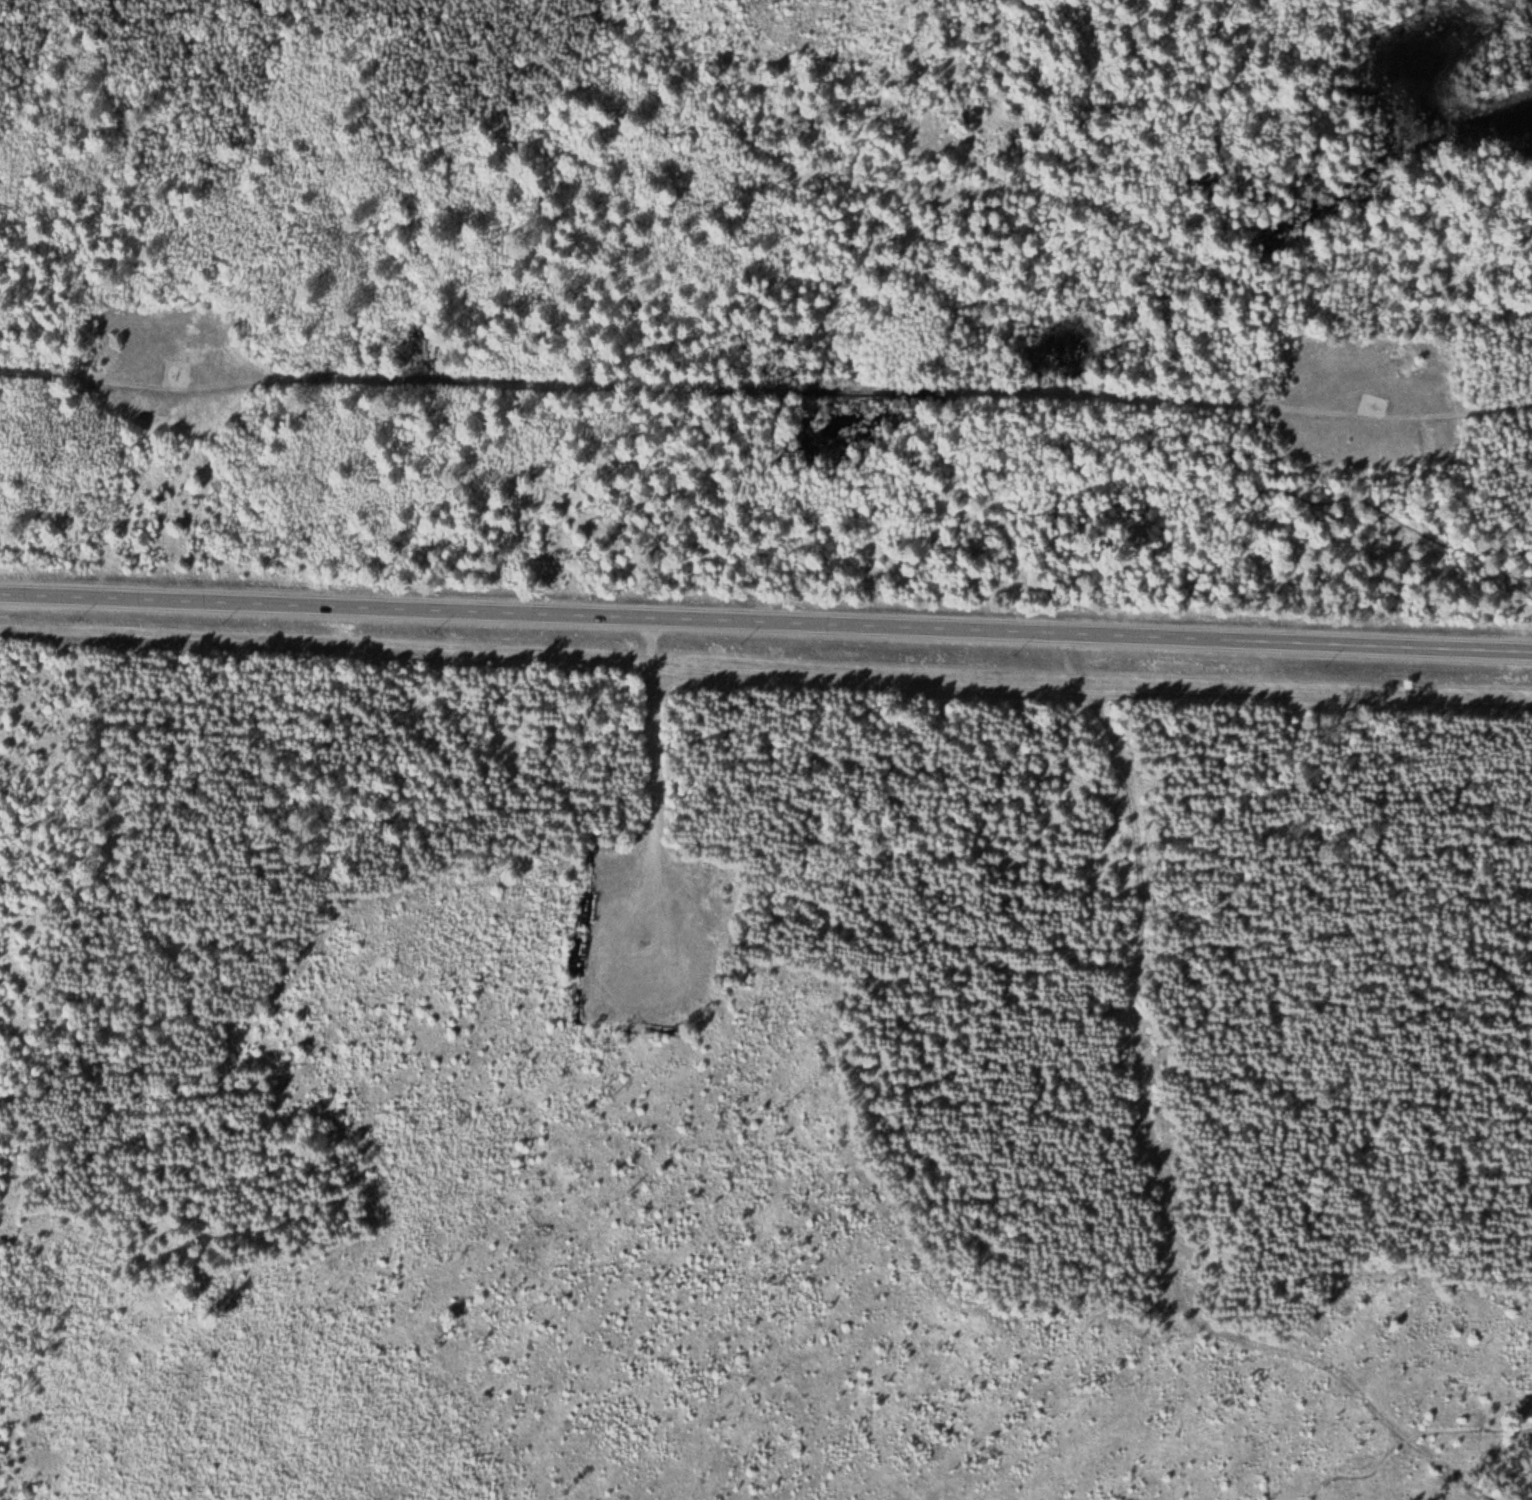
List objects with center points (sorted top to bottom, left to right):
petroleum well: (171, 369)
road: (765, 387)
road: (1253, 389)
road: (766, 620)
road: (1160, 1145)
road: (1405, 1435)

